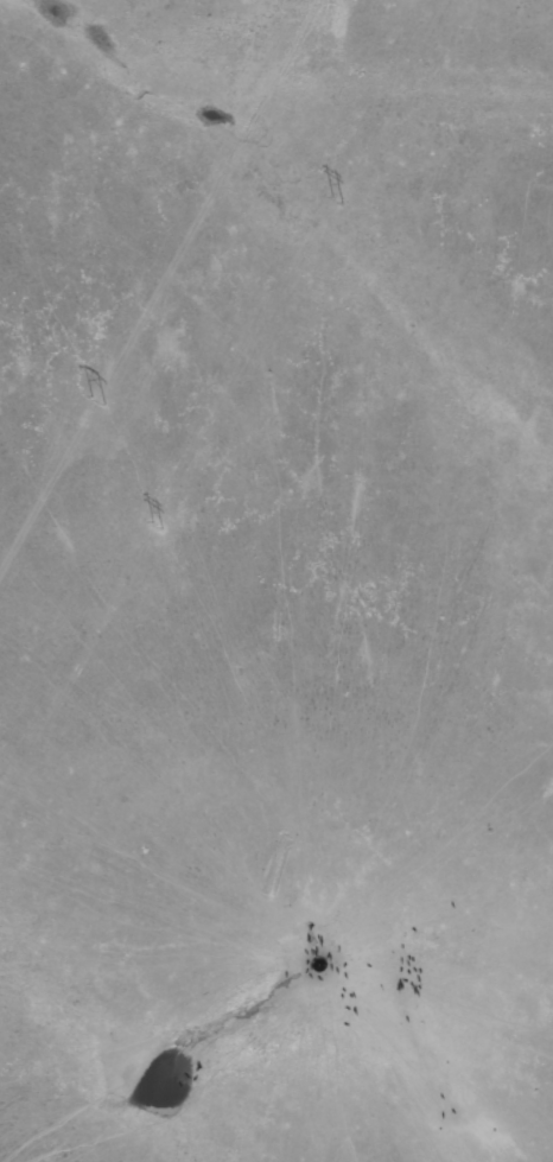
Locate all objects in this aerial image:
power tower: (336, 201)
power tower: (96, 400)
power tower: (155, 525)
road: (281, 611)

